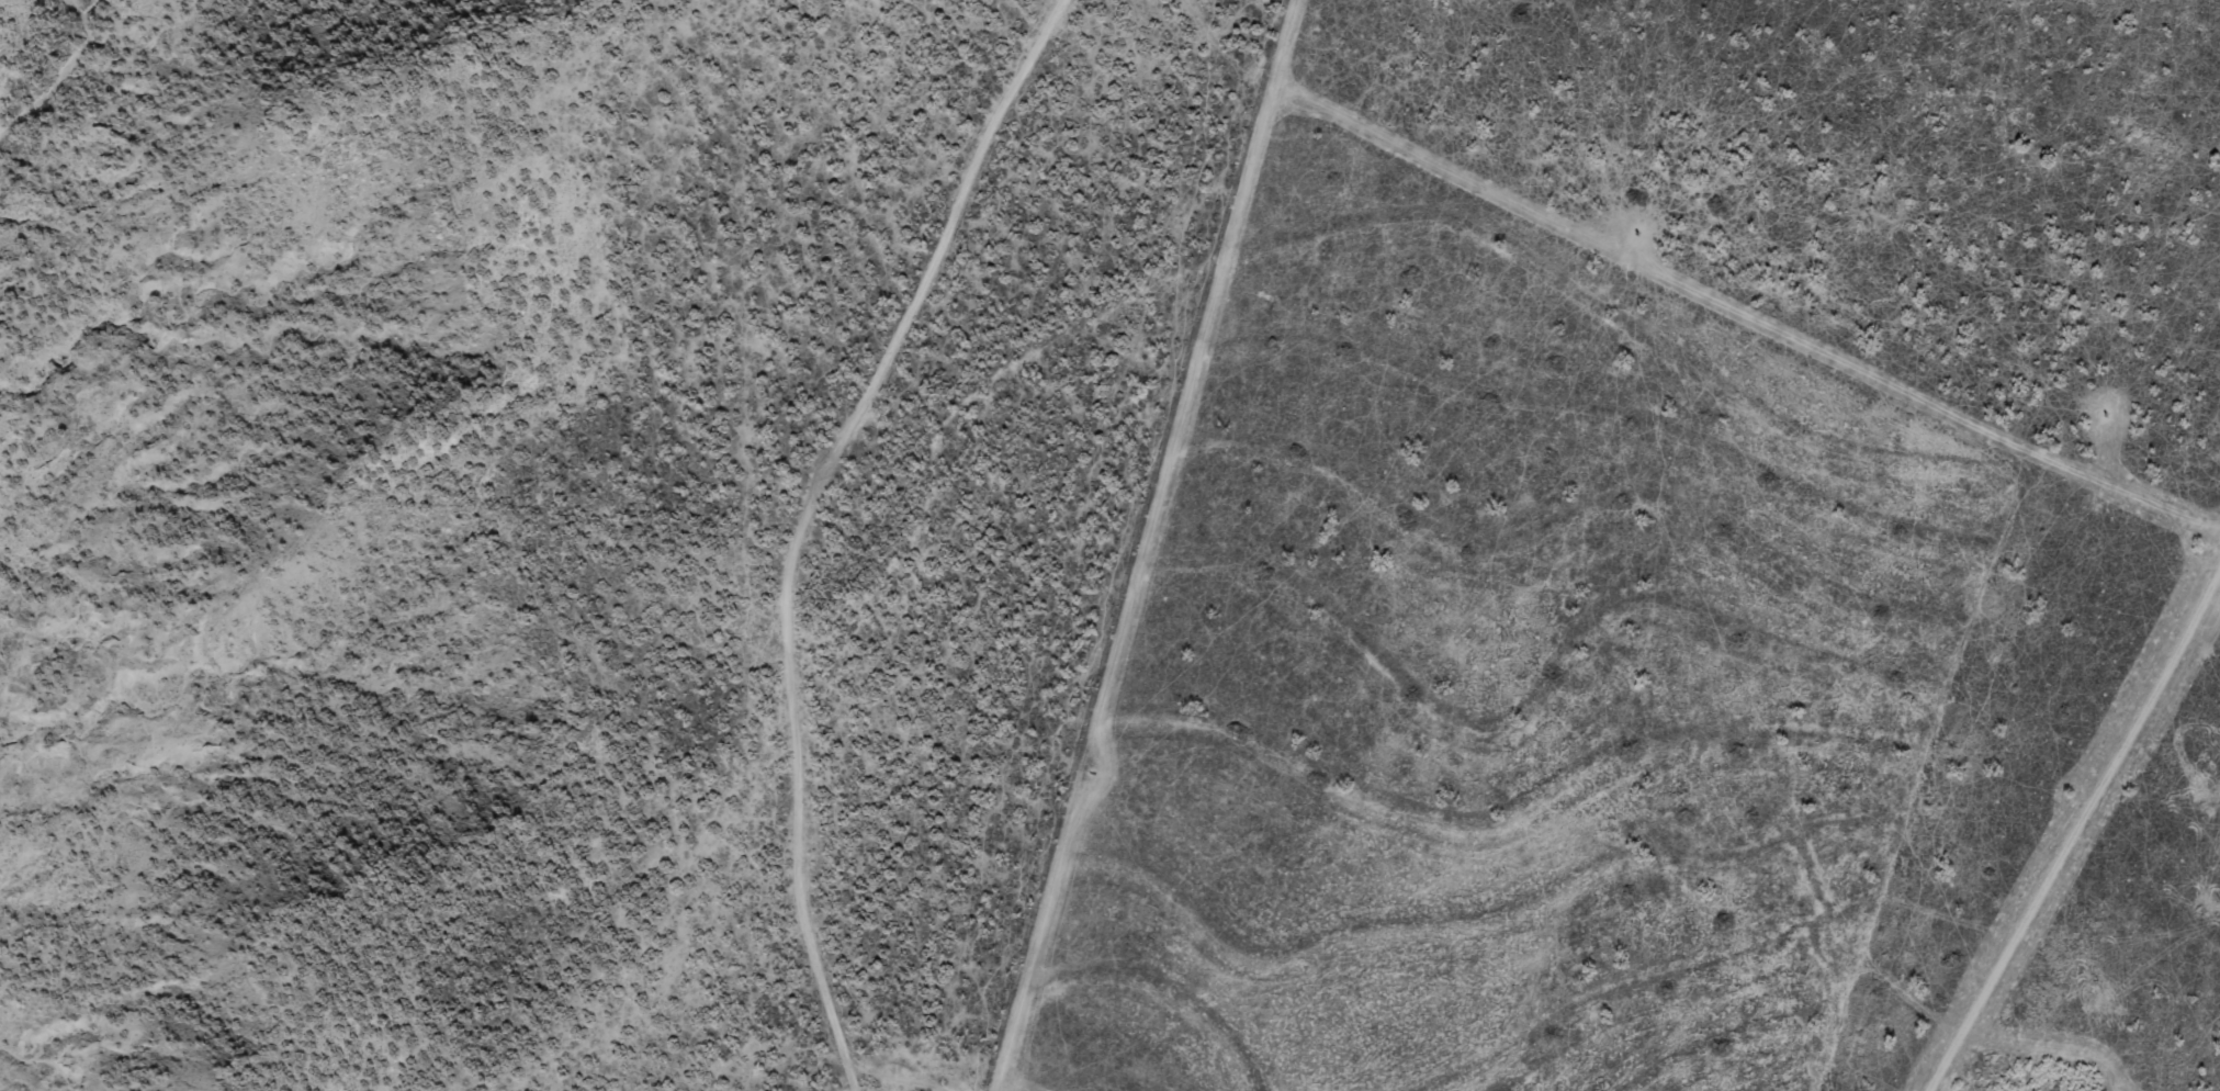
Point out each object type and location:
road: (780, 520)
road: (1146, 642)

